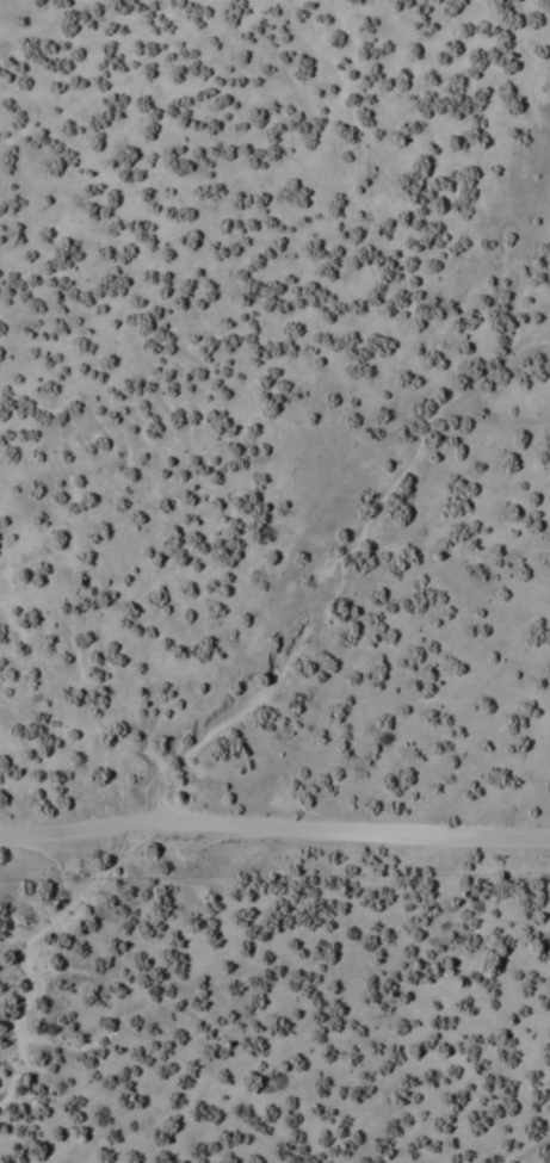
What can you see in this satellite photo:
road: (274, 830)

